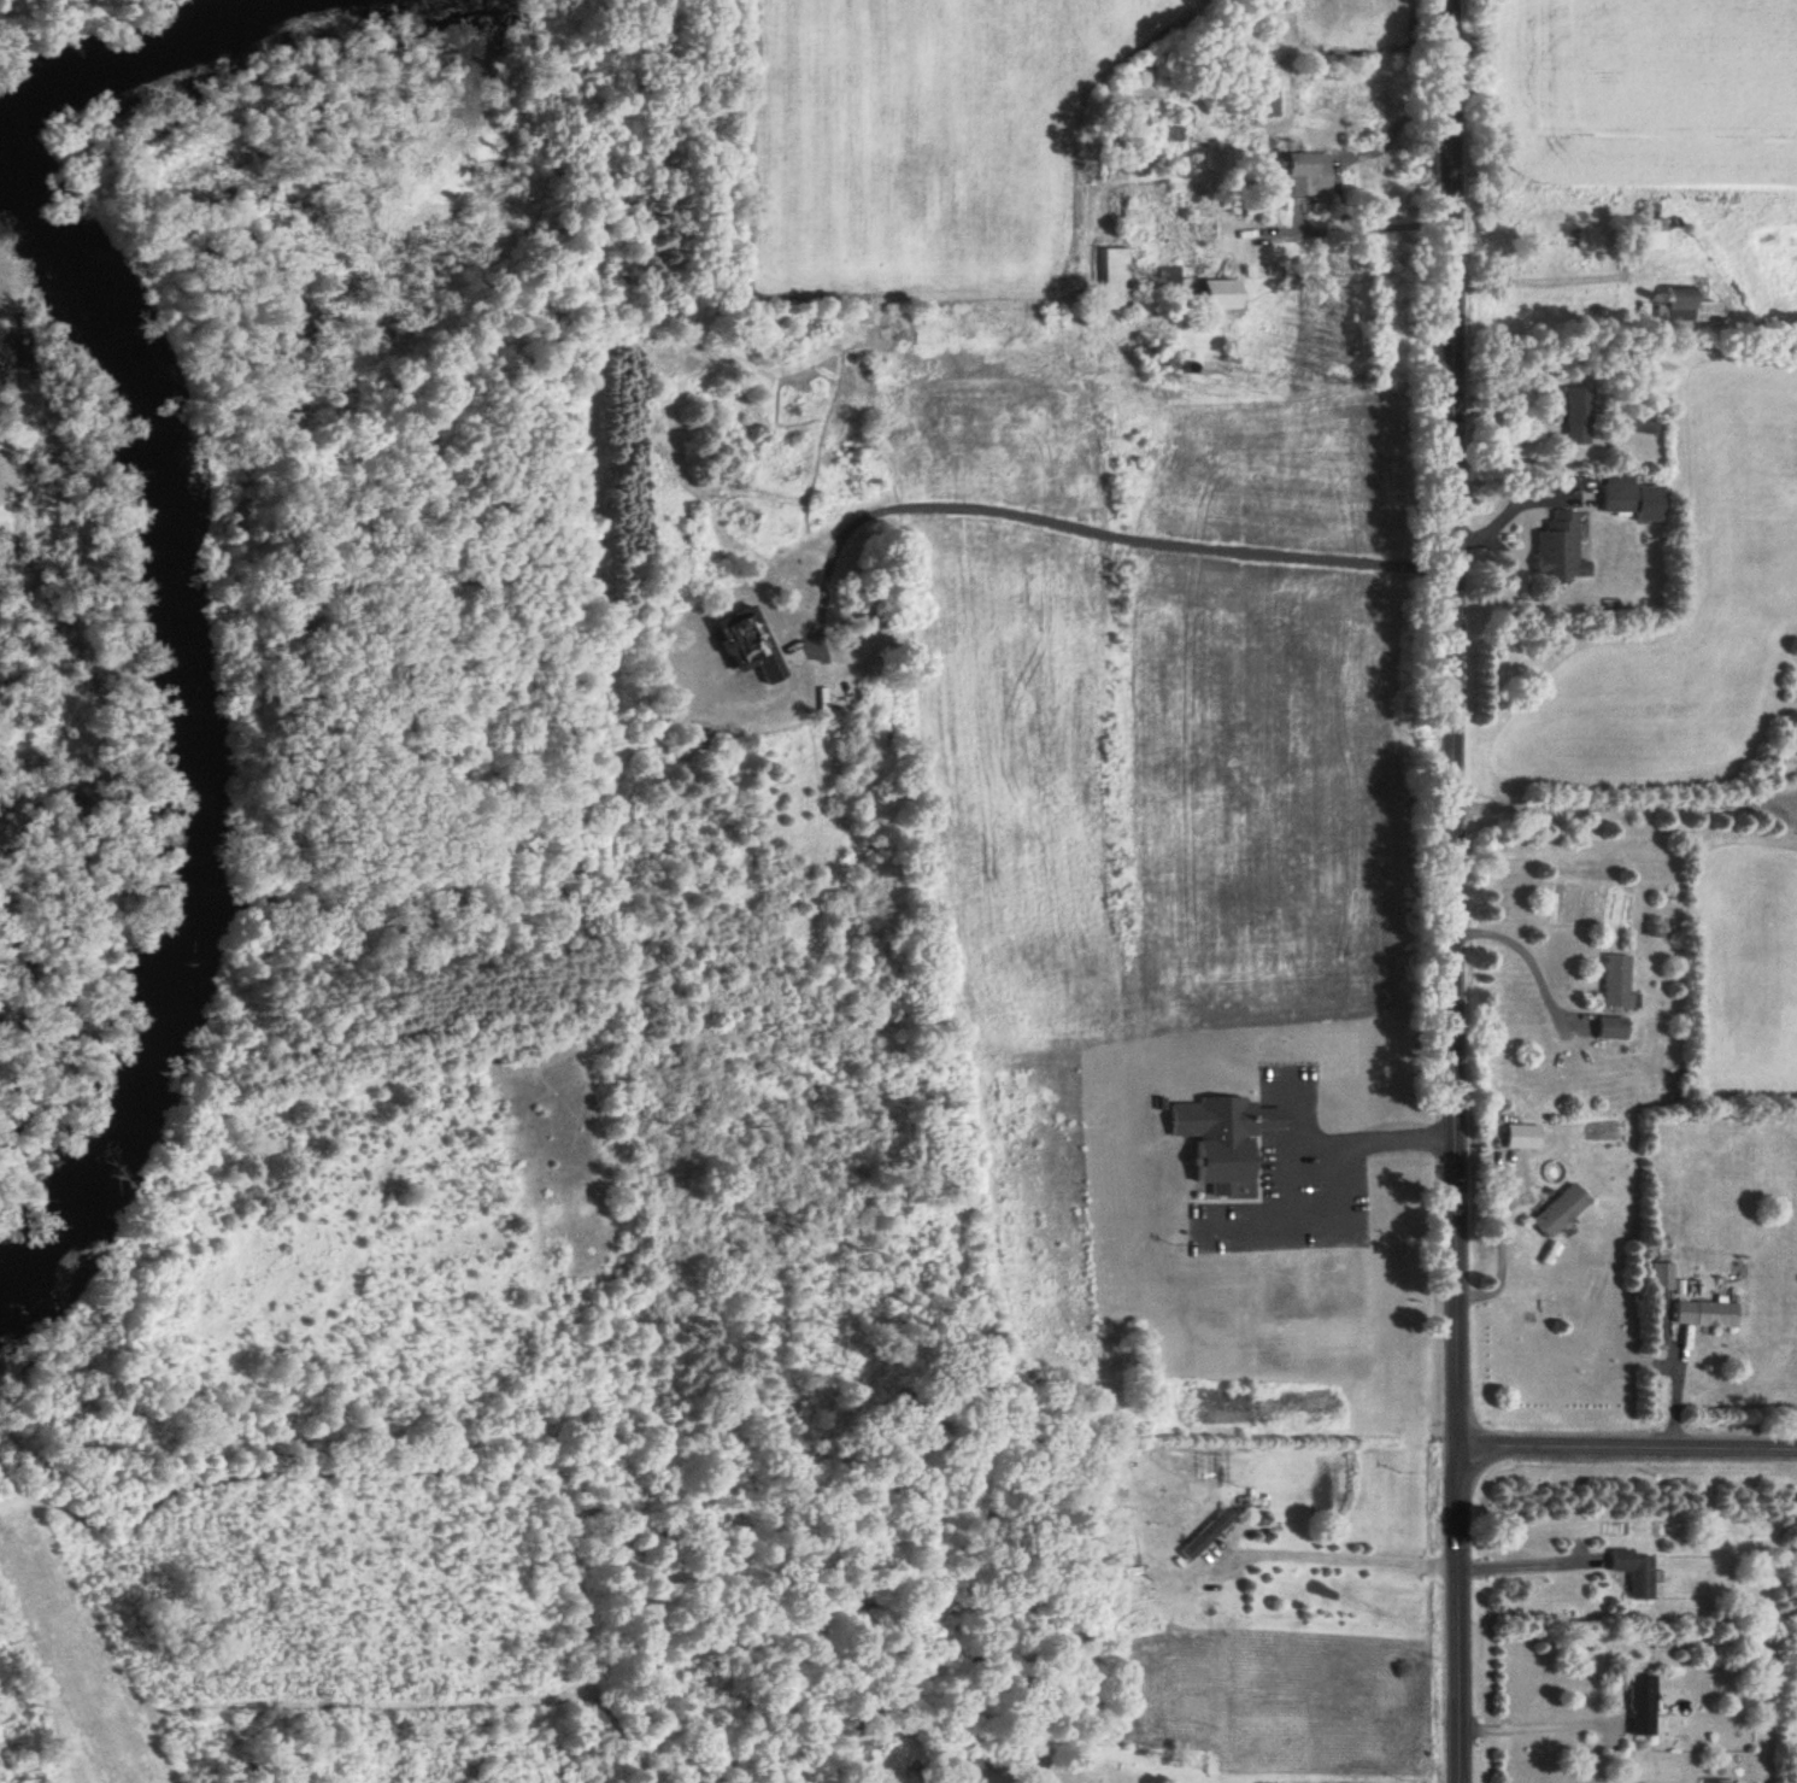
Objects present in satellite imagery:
river: (168, 59)
building: (1261, 101)
road: (1349, 163)
building: (1298, 172)
building: (1643, 234)
building: (1116, 278)
road: (1561, 280)
building: (1173, 282)
building: (1214, 294)
building: (1687, 306)
building: (1575, 416)
building: (1617, 495)
road: (1092, 508)
building: (1557, 550)
river: (210, 756)
road: (1622, 802)
road: (1463, 891)
road: (1531, 956)
building: (1615, 983)
building: (1607, 1028)
road: (1372, 1146)
building: (1556, 1210)
road: (1498, 1234)
building: (1661, 1275)
building: (1704, 1314)
road: (1440, 1406)
road: (1631, 1425)
road: (0, 1497)
building: (1206, 1533)
road: (1343, 1556)
road: (1529, 1562)
building: (1632, 1571)
building: (1639, 1705)
road: (1538, 1725)
building: (867, 1737)
road: (1, 1777)

